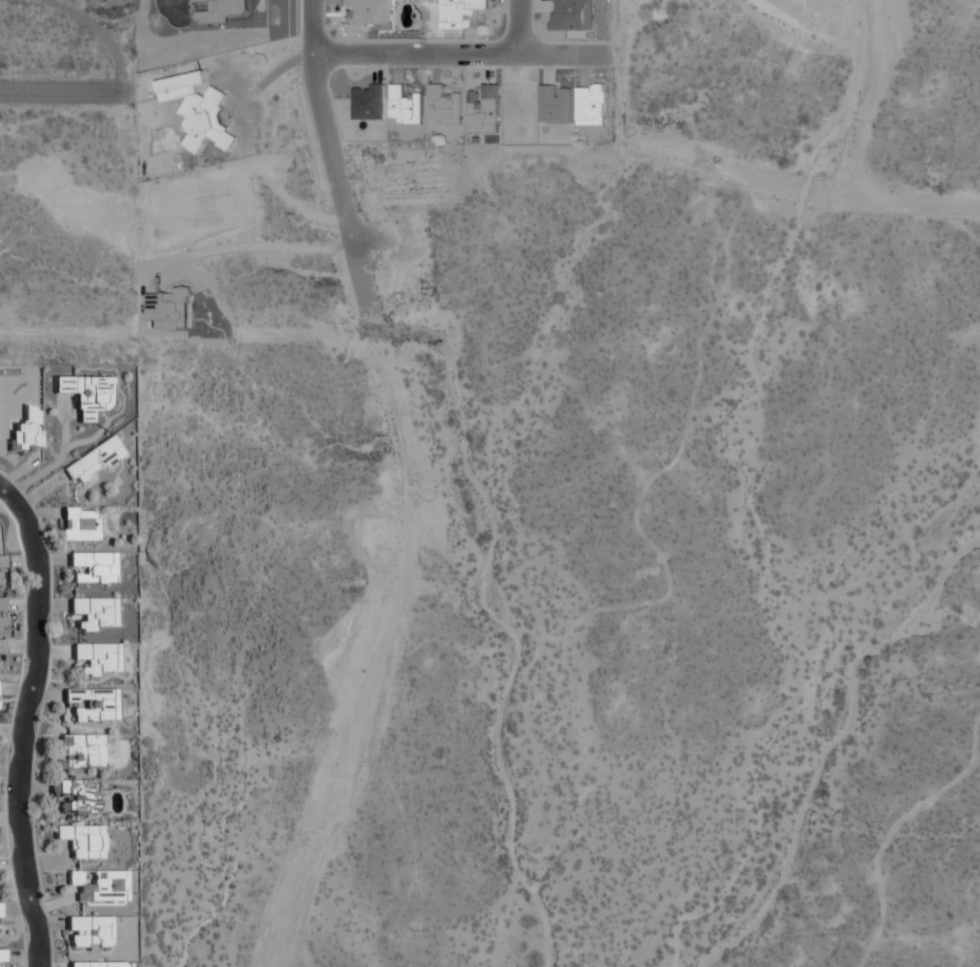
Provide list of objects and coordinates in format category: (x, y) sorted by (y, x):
building: (462, 13)
road: (516, 27)
road: (96, 33)
road: (459, 53)
road: (59, 92)
building: (590, 103)
building: (443, 105)
building: (404, 106)
building: (198, 110)
road: (330, 155)
road: (365, 237)
road: (251, 246)
building: (86, 394)
building: (94, 460)
building: (79, 524)
building: (93, 568)
building: (1, 570)
building: (2, 612)
building: (94, 613)
building: (98, 658)
building: (90, 705)
road: (28, 722)
building: (81, 751)
building: (75, 796)
building: (82, 840)
building: (98, 887)
building: (0, 911)
building: (90, 933)
building: (1, 957)
building: (98, 964)

